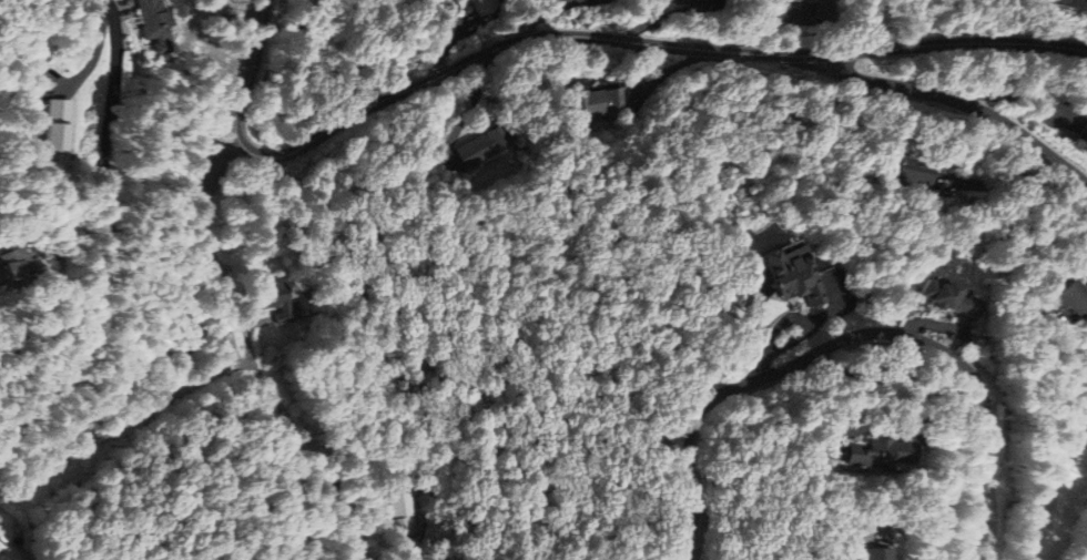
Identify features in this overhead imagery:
building: (1067, 3)
building: (475, 6)
building: (155, 26)
road: (573, 34)
park: (291, 77)
road: (964, 100)
building: (590, 108)
building: (58, 125)
building: (479, 147)
road: (96, 235)
building: (22, 269)
building: (791, 273)
building: (275, 297)
building: (954, 298)
building: (1078, 301)
road: (235, 303)
road: (850, 340)
building: (885, 456)
road: (1048, 486)
building: (399, 516)
building: (874, 554)

